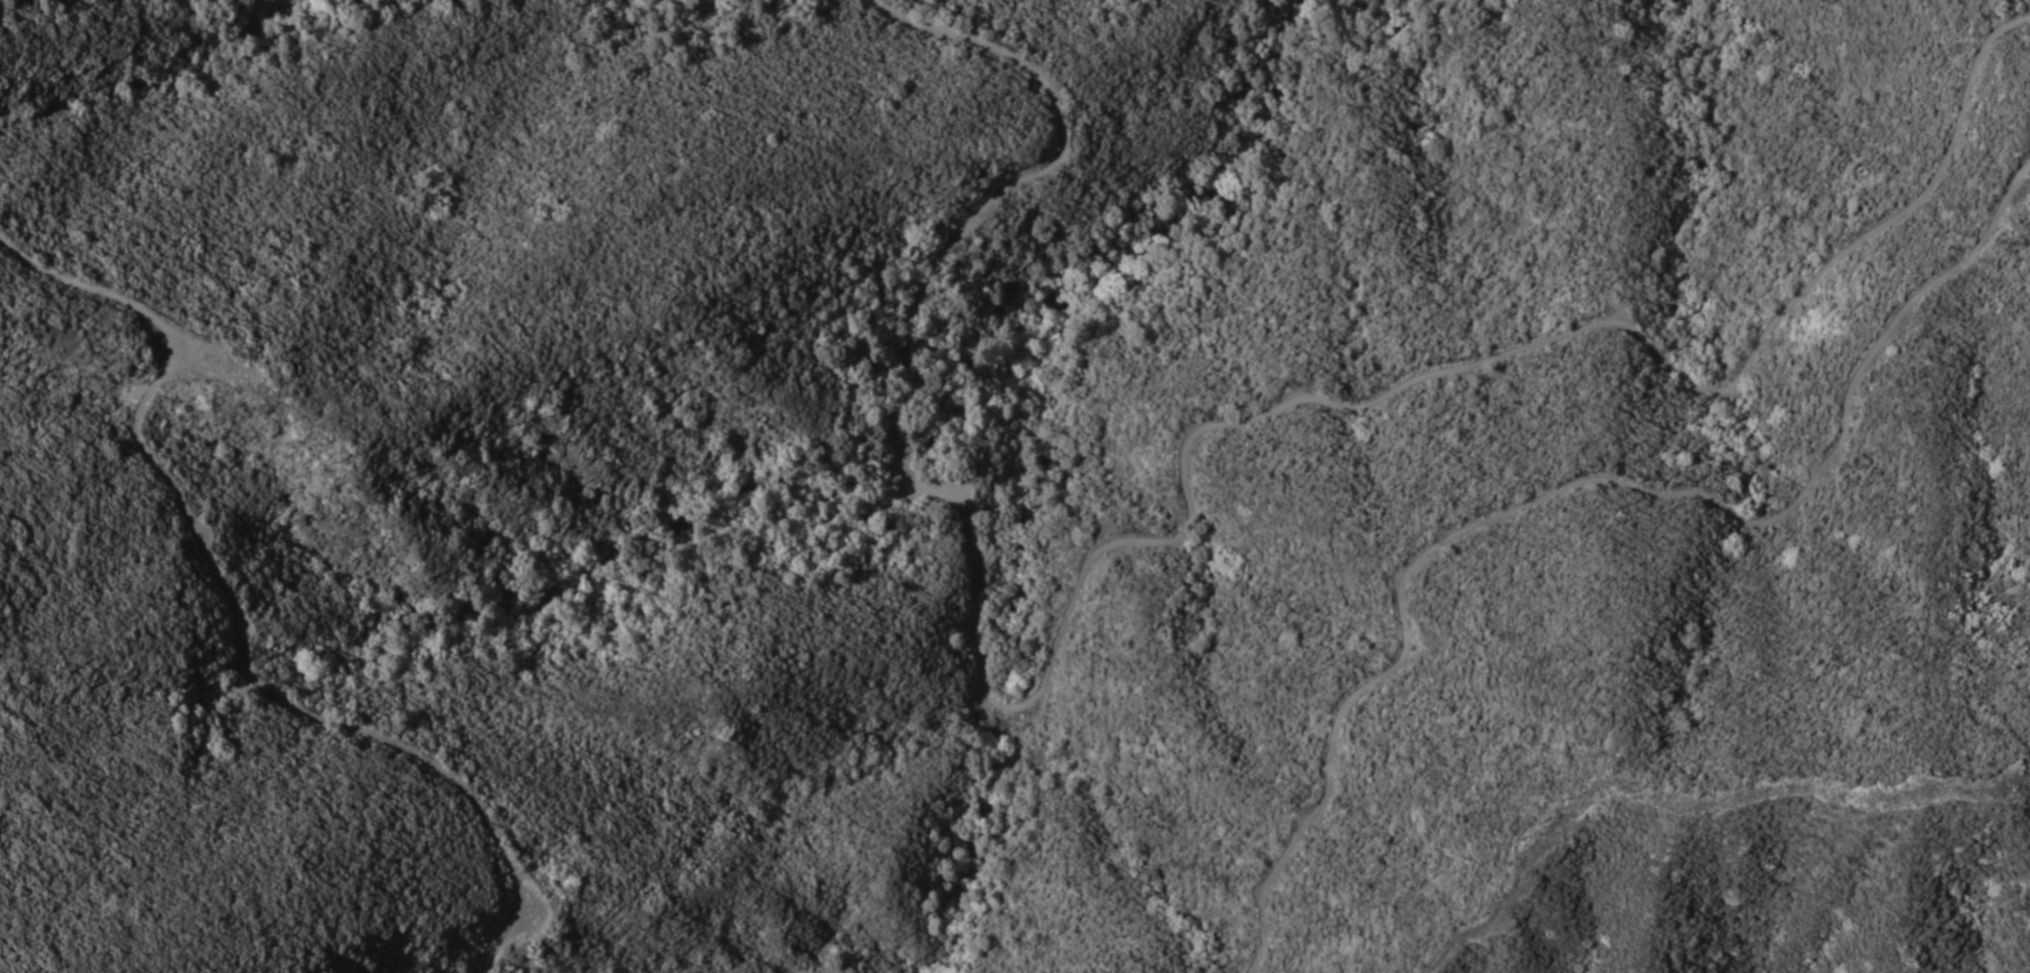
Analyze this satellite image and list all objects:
road: (1584, 482)
road: (1164, 539)
road: (237, 614)

